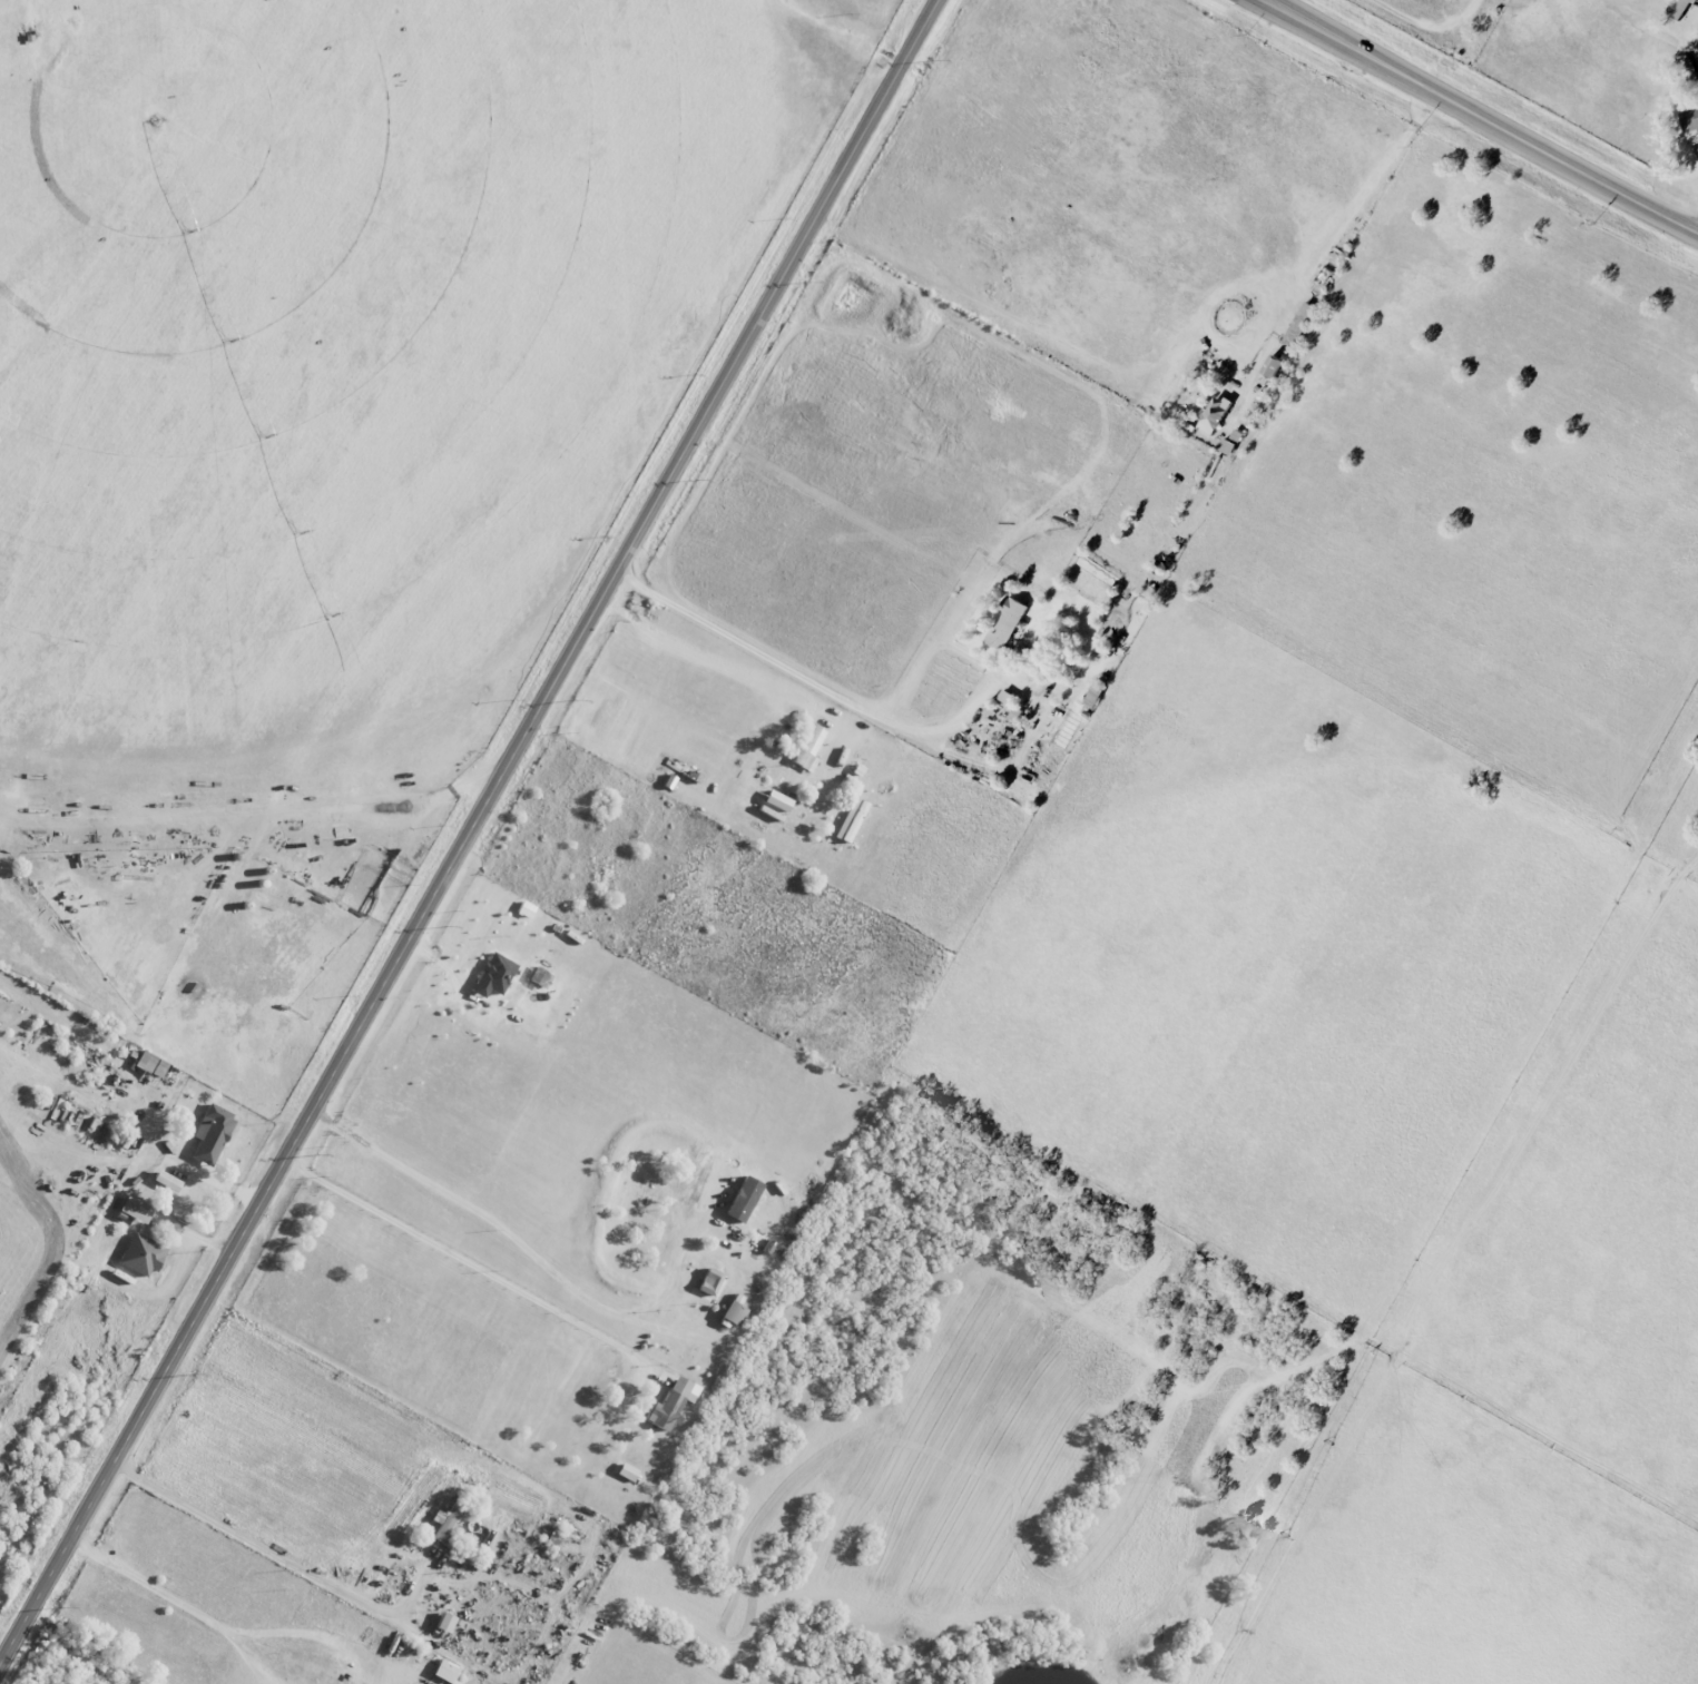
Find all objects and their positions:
building: (1677, 9)
power tower: (935, 63)
road: (1479, 119)
building: (1689, 126)
road: (1048, 244)
power tower: (812, 284)
building: (1297, 325)
building: (1270, 367)
building: (1213, 415)
power tower: (700, 482)
building: (1004, 623)
road: (786, 667)
power tower: (576, 702)
building: (806, 749)
road: (795, 796)
building: (774, 801)
building: (848, 820)
road: (471, 834)
power tower: (450, 927)
building: (491, 975)
building: (146, 1064)
building: (208, 1134)
power tower: (322, 1154)
building: (740, 1199)
building: (132, 1209)
building: (139, 1255)
road: (470, 1258)
road: (544, 1264)
building: (707, 1282)
building: (729, 1313)
power tower: (195, 1377)
building: (671, 1400)
building: (624, 1471)
building: (445, 1521)
road: (276, 1554)
road: (156, 1583)
power tower: (63, 1609)
building: (441, 1623)
road: (321, 1631)
road: (261, 1662)
building: (442, 1671)

